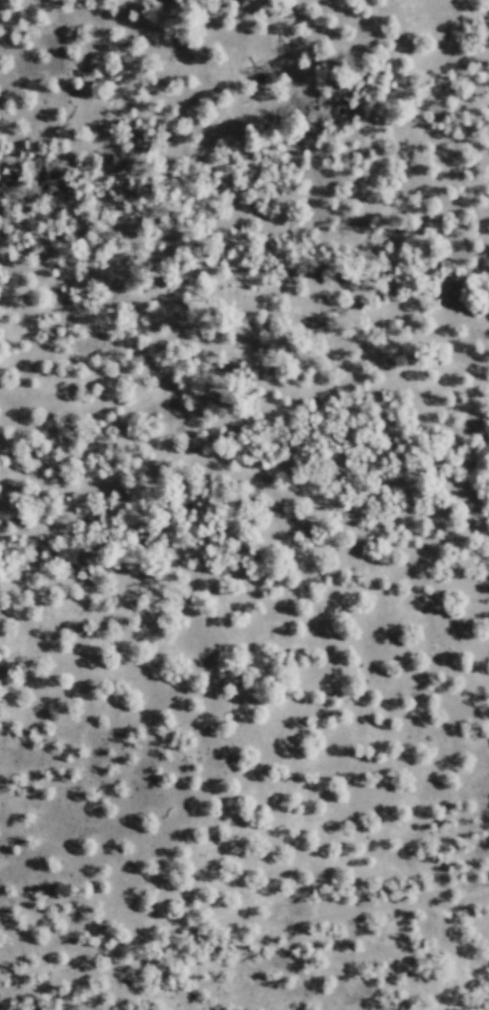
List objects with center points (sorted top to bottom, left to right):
road: (236, 920)

